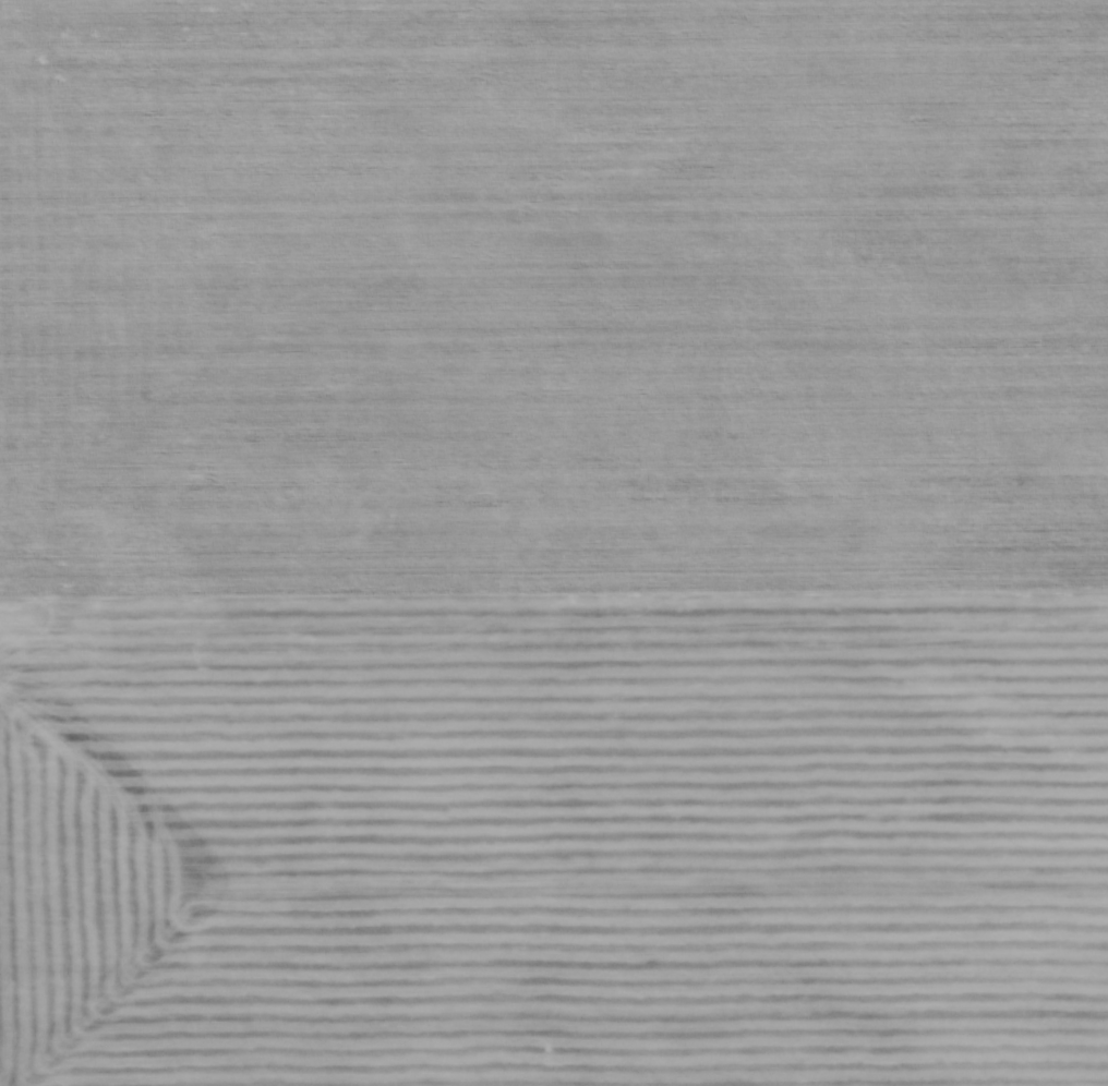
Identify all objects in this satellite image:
crop: (554, 543)

